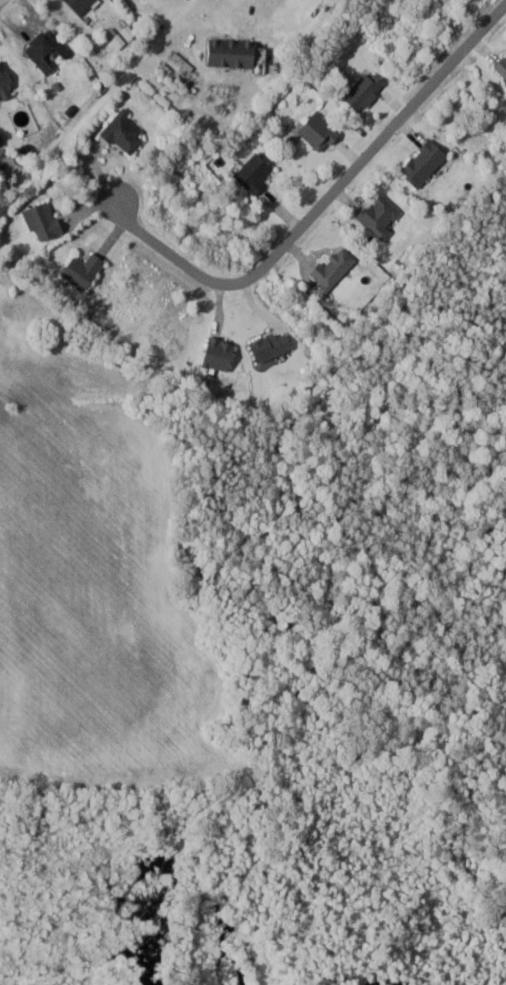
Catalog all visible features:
road: (3, 3)
building: (83, 5)
building: (48, 50)
building: (235, 52)
building: (502, 67)
building: (6, 80)
building: (366, 89)
road: (91, 102)
building: (127, 132)
building: (321, 132)
building: (427, 162)
building: (258, 172)
road: (321, 197)
building: (382, 216)
building: (46, 221)
building: (336, 267)
building: (85, 271)
building: (273, 346)
building: (222, 354)

